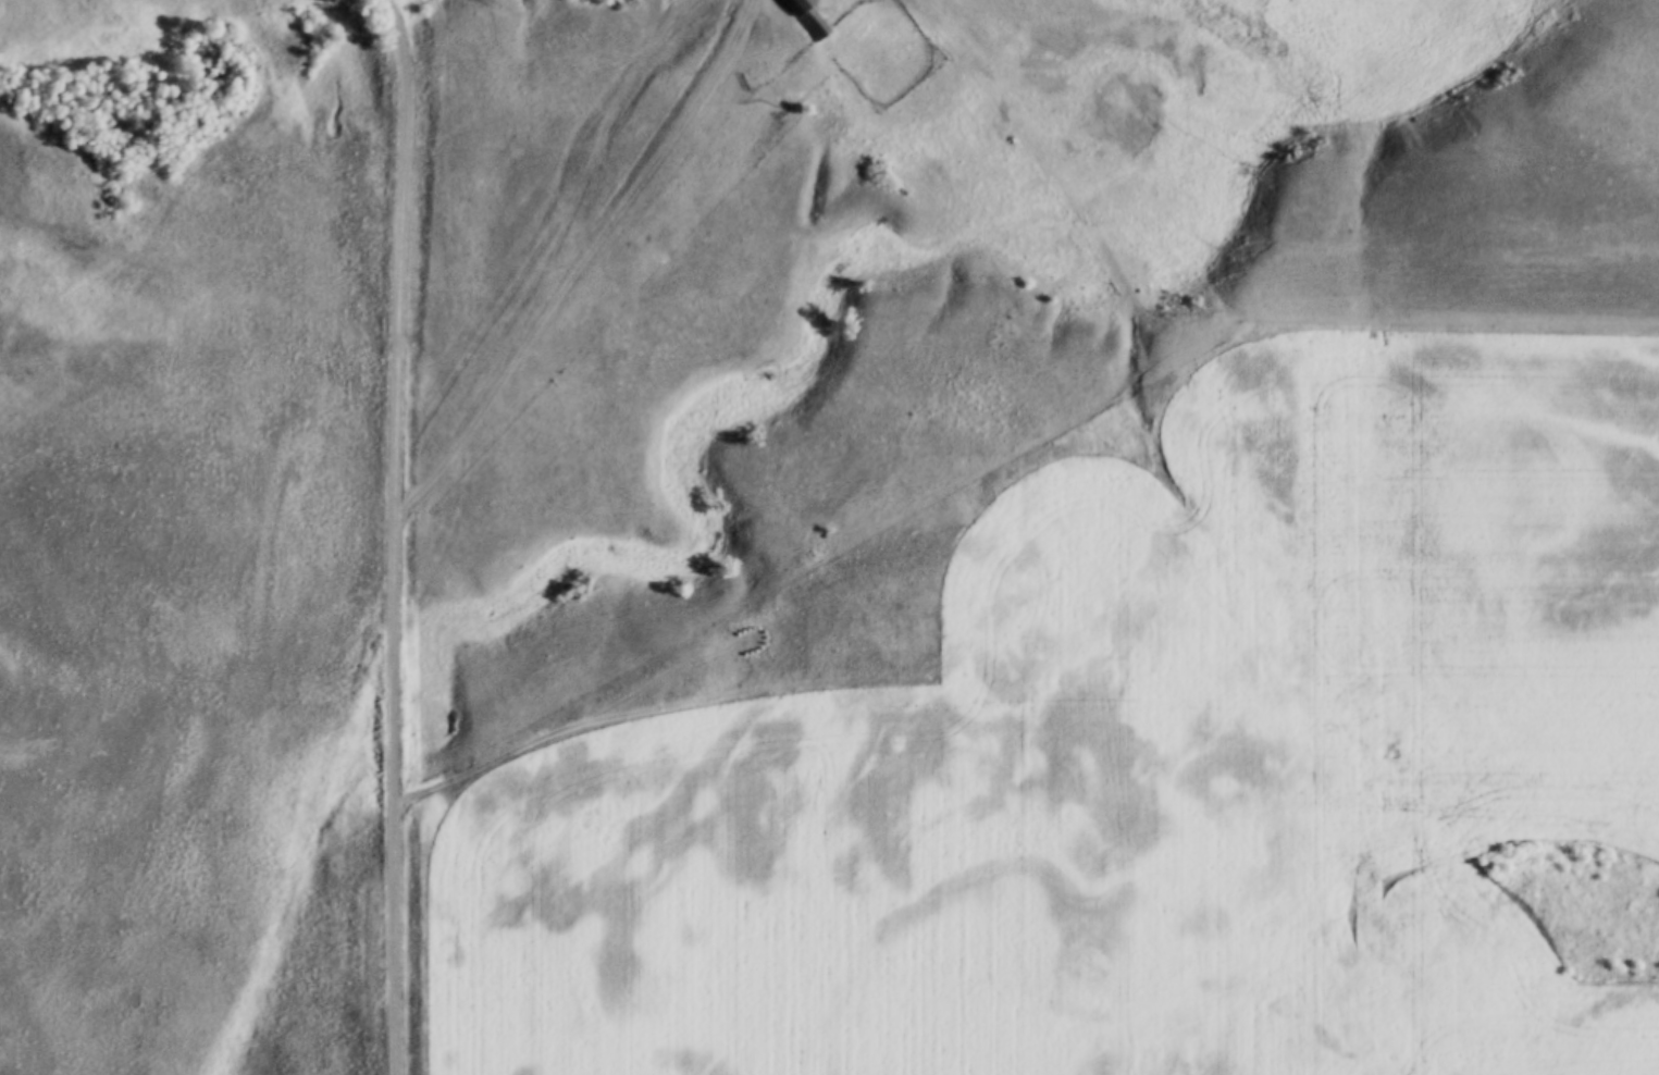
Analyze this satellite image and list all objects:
building: (808, 18)
road: (583, 270)
road: (393, 535)

